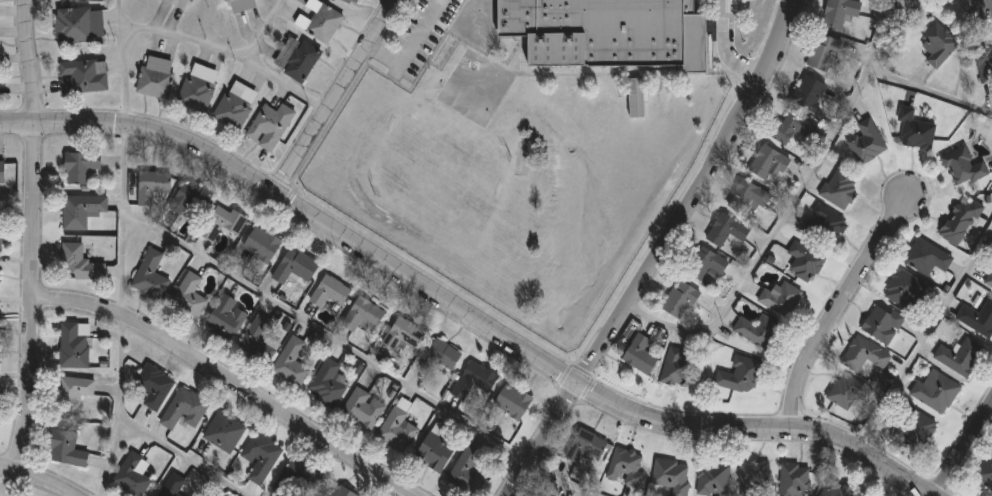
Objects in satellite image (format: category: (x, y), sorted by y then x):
building: (353, 0)
building: (180, 3)
building: (237, 4)
building: (911, 4)
building: (838, 12)
building: (318, 20)
building: (77, 23)
road: (264, 30)
building: (606, 32)
building: (936, 43)
road: (408, 47)
road: (725, 50)
road: (227, 51)
building: (823, 52)
building: (295, 57)
building: (983, 62)
road: (120, 64)
building: (81, 75)
building: (154, 76)
building: (196, 86)
road: (928, 90)
building: (807, 91)
road: (333, 96)
building: (636, 98)
building: (234, 104)
building: (268, 122)
building: (792, 124)
building: (914, 130)
building: (865, 141)
building: (767, 161)
building: (961, 164)
building: (78, 165)
building: (1, 170)
building: (150, 185)
building: (838, 188)
building: (746, 195)
building: (188, 200)
building: (80, 209)
road: (786, 213)
building: (959, 219)
building: (221, 221)
building: (823, 223)
building: (725, 229)
building: (0, 234)
road: (30, 236)
building: (260, 243)
road: (661, 252)
building: (924, 256)
building: (802, 260)
building: (78, 262)
building: (703, 262)
building: (293, 265)
building: (148, 275)
building: (988, 279)
building: (901, 288)
building: (328, 290)
building: (187, 296)
building: (779, 298)
building: (677, 299)
road: (835, 309)
road: (126, 313)
road: (462, 313)
building: (361, 314)
building: (223, 317)
building: (976, 317)
building: (881, 322)
building: (756, 330)
building: (401, 333)
road: (923, 335)
road: (329, 337)
building: (257, 339)
building: (72, 343)
building: (863, 353)
building: (639, 354)
building: (438, 355)
building: (956, 355)
building: (289, 361)
building: (680, 365)
building: (739, 375)
building: (472, 379)
road: (224, 381)
building: (325, 382)
building: (153, 384)
building: (844, 390)
building: (933, 390)
building: (71, 391)
building: (511, 400)
building: (182, 407)
building: (361, 408)
road: (989, 417)
building: (914, 428)
building: (396, 429)
building: (222, 430)
building: (584, 444)
building: (64, 447)
road: (963, 450)
building: (433, 451)
building: (259, 455)
road: (183, 456)
building: (624, 466)
building: (470, 467)
building: (985, 470)
building: (131, 473)
building: (670, 475)
building: (297, 477)
building: (711, 477)
building: (752, 478)
road: (35, 479)
building: (793, 479)
road: (582, 481)
road: (7, 482)
building: (172, 485)
building: (834, 489)
building: (338, 490)
building: (540, 494)
building: (316, 495)
building: (865, 495)

